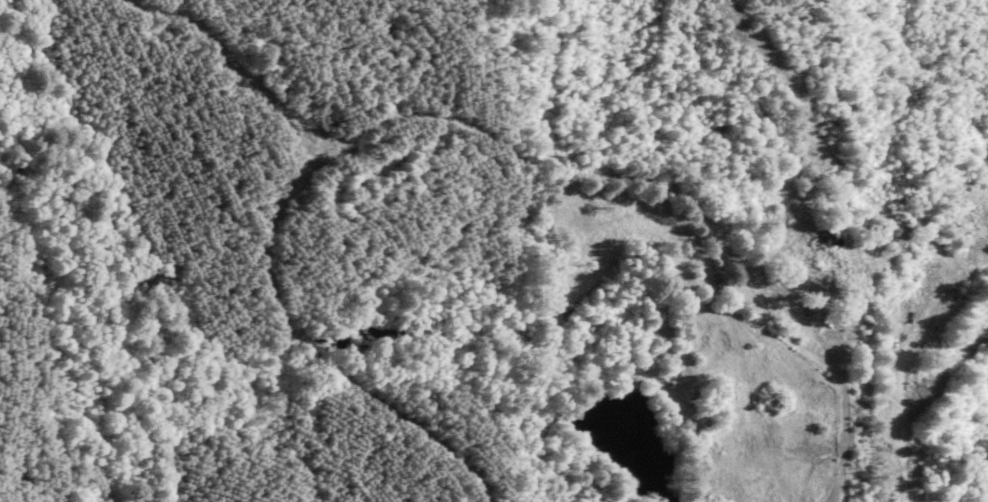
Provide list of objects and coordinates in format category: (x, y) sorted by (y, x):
building: (821, 234)
building: (809, 276)
road: (835, 415)
road: (830, 494)

